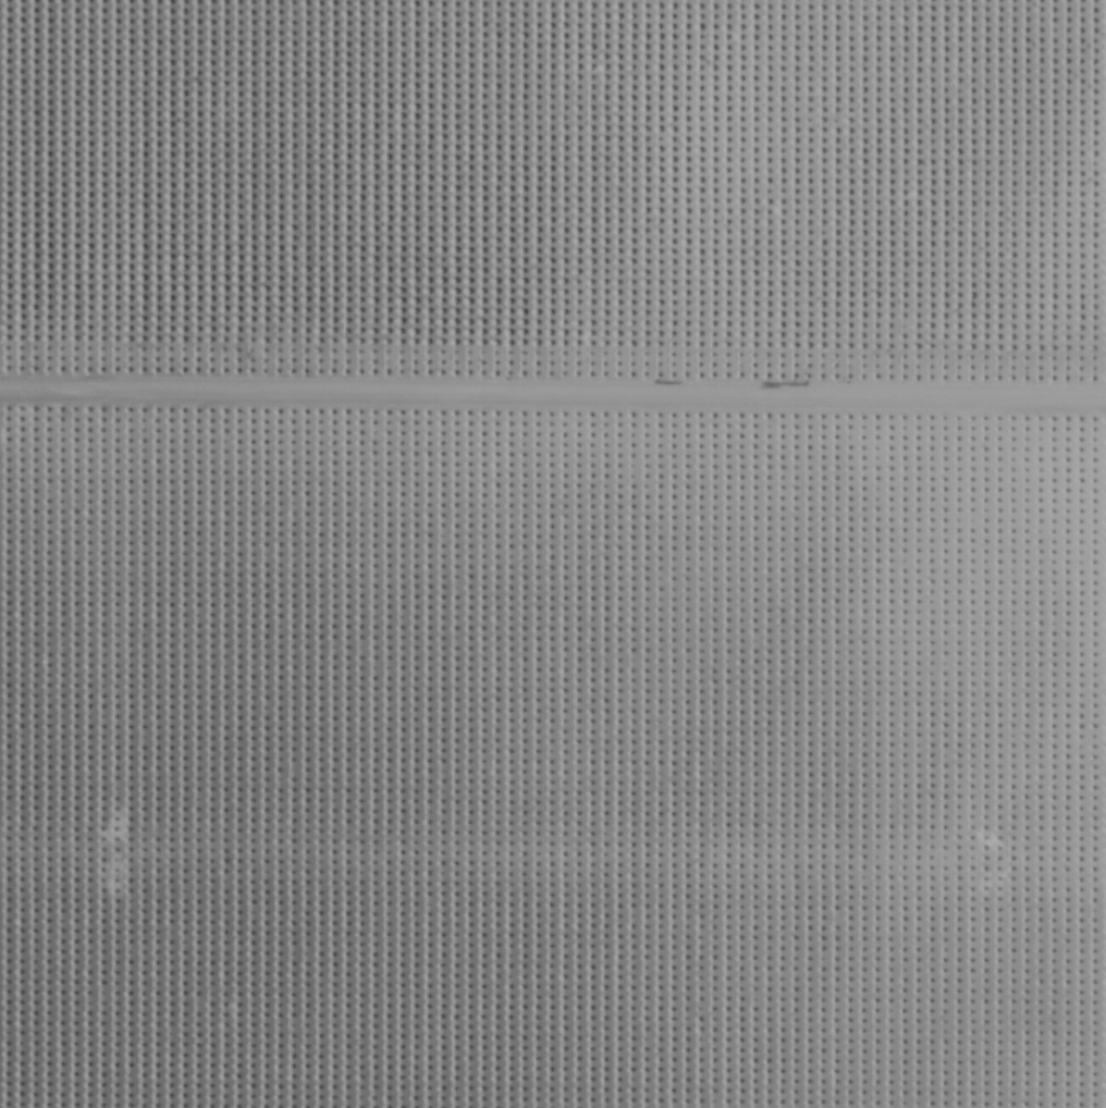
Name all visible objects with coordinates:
road: (553, 374)
crop: (553, 554)

